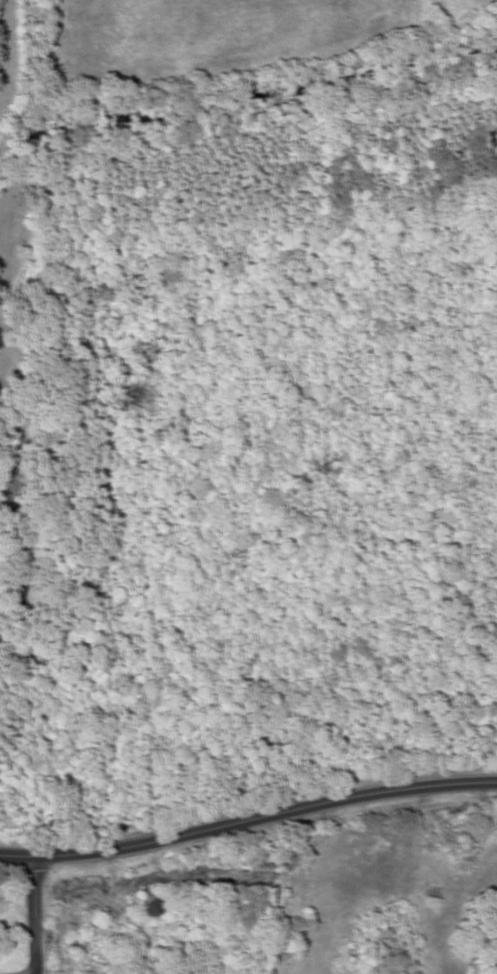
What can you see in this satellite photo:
building: (33, 548)
road: (248, 823)
building: (153, 903)
road: (30, 917)

